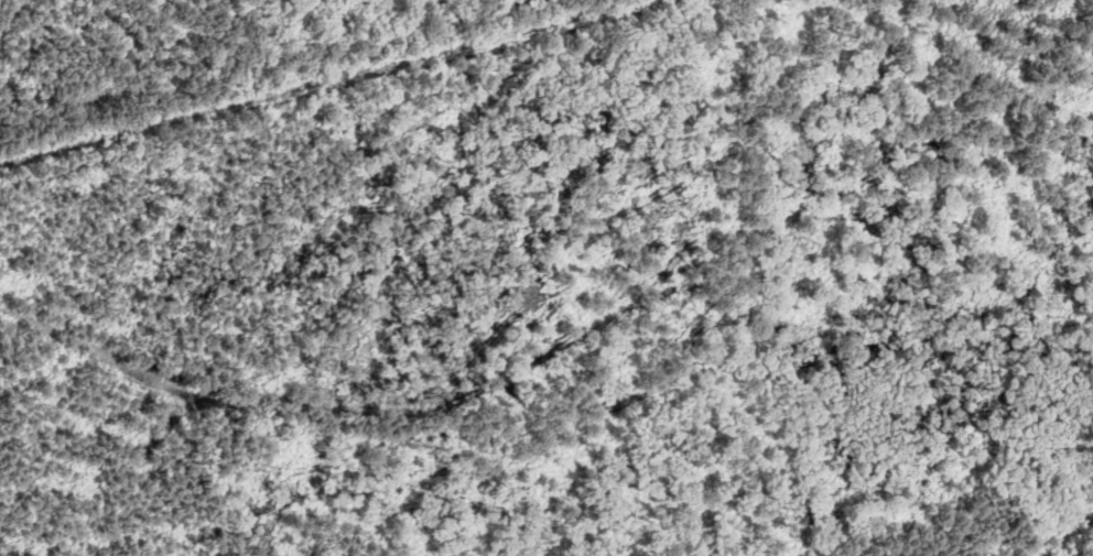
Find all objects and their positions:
railway: (327, 83)

